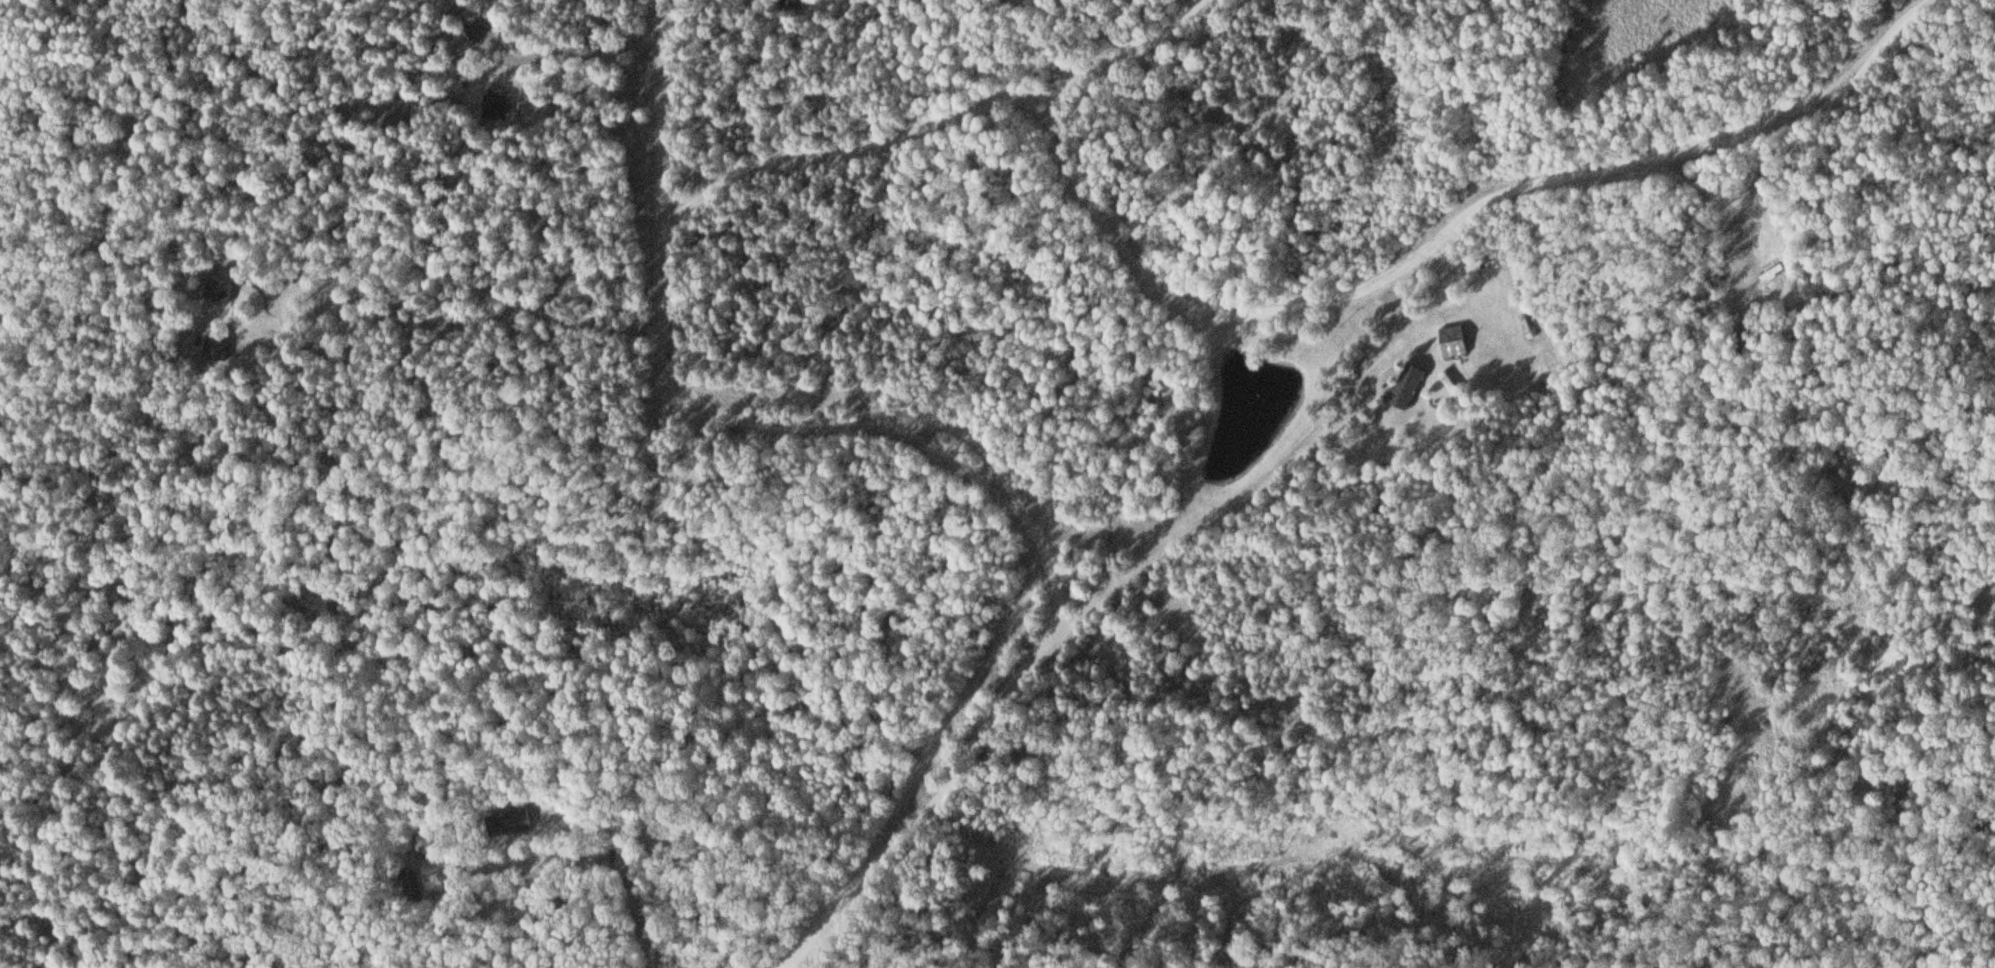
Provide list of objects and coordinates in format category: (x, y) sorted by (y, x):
building: (793, 4)
building: (496, 106)
road: (669, 114)
road: (937, 128)
road: (1463, 219)
building: (1765, 219)
building: (1474, 268)
building: (224, 291)
building: (1522, 327)
building: (1452, 341)
building: (218, 346)
building: (1408, 386)
building: (1154, 402)
road: (1035, 516)
road: (1031, 578)
building: (510, 822)
road: (651, 903)

